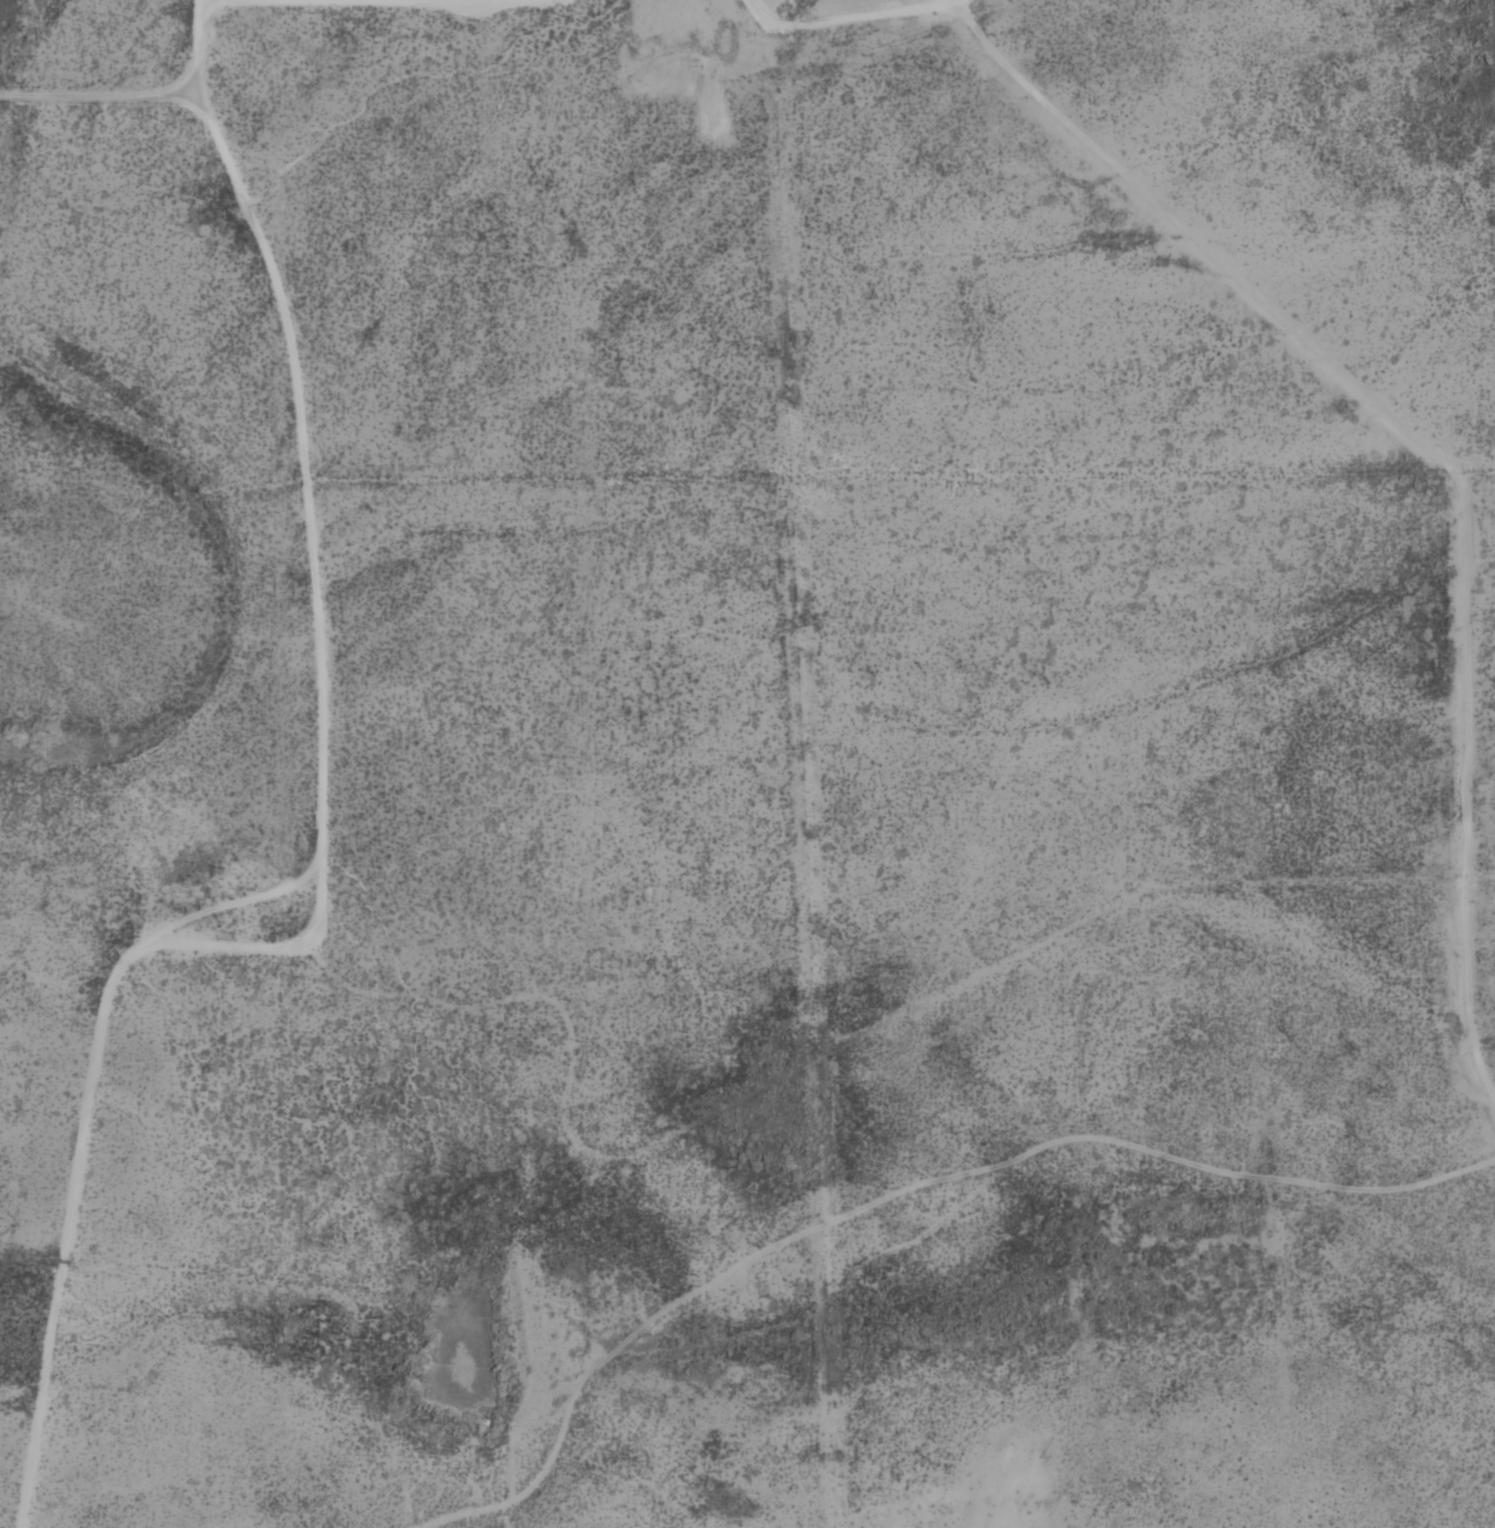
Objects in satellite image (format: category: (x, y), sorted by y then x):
road: (306, 436)
road: (84, 1137)
road: (1300, 1182)

